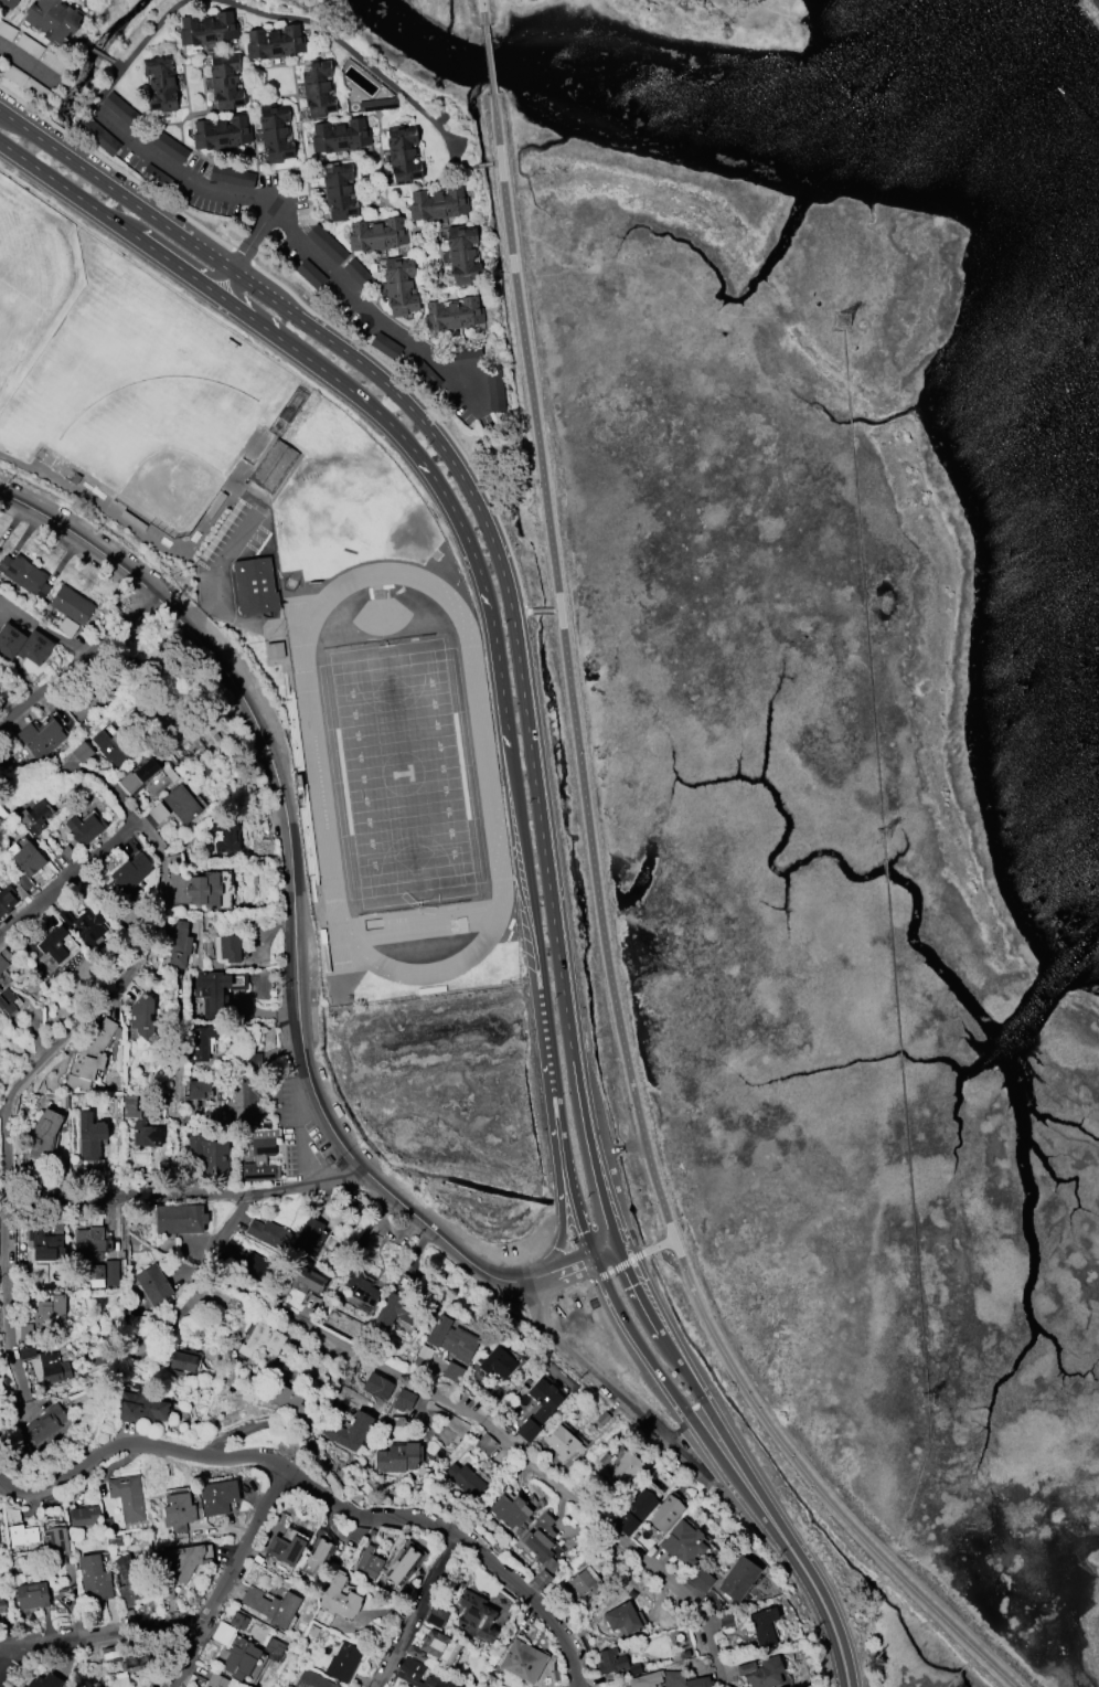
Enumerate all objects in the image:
building: (8, 3)
road: (483, 11)
road: (737, 11)
building: (52, 20)
park: (695, 21)
building: (209, 29)
building: (275, 43)
road: (349, 49)
road: (490, 60)
road: (29, 65)
building: (226, 81)
building: (161, 83)
building: (319, 88)
building: (378, 105)
building: (222, 131)
building: (276, 132)
building: (340, 137)
building: (404, 155)
building: (232, 176)
road: (67, 190)
building: (339, 191)
road: (234, 192)
building: (438, 204)
building: (377, 235)
road: (246, 254)
building: (465, 255)
road: (177, 266)
building: (401, 286)
road: (309, 310)
building: (454, 315)
power tower: (844, 323)
building: (385, 346)
building: (495, 392)
building: (273, 465)
road: (434, 477)
park: (169, 488)
road: (482, 520)
parking lot: (238, 535)
building: (0, 540)
road: (215, 569)
building: (24, 575)
building: (254, 584)
building: (72, 605)
road: (542, 611)
road: (557, 611)
road: (521, 612)
road: (563, 620)
road: (41, 629)
building: (10, 639)
building: (34, 648)
building: (273, 648)
road: (77, 658)
building: (83, 701)
building: (42, 739)
building: (116, 746)
building: (83, 752)
park: (401, 772)
track: (484, 772)
building: (150, 777)
building: (182, 804)
building: (159, 813)
building: (2, 814)
building: (36, 817)
building: (86, 829)
building: (226, 835)
power tower: (885, 838)
building: (68, 852)
building: (28, 858)
road: (70, 880)
building: (129, 881)
building: (211, 890)
building: (12, 895)
road: (292, 925)
building: (86, 926)
building: (179, 944)
building: (55, 945)
building: (227, 948)
building: (4, 959)
building: (0, 976)
road: (157, 977)
building: (0, 988)
building: (0, 989)
building: (220, 989)
road: (107, 999)
building: (7, 1001)
road: (544, 1002)
building: (143, 1016)
building: (201, 1043)
building: (90, 1057)
building: (199, 1089)
road: (183, 1091)
building: (250, 1100)
building: (130, 1107)
road: (298, 1128)
building: (147, 1134)
building: (44, 1135)
road: (551, 1135)
building: (90, 1136)
road: (634, 1145)
road: (604, 1150)
building: (209, 1154)
building: (260, 1156)
road: (657, 1190)
road: (184, 1197)
road: (595, 1200)
building: (179, 1219)
building: (269, 1234)
building: (309, 1235)
building: (92, 1240)
building: (45, 1244)
road: (658, 1246)
building: (250, 1265)
road: (595, 1265)
road: (621, 1266)
building: (103, 1274)
building: (305, 1278)
road: (595, 1278)
building: (152, 1284)
building: (360, 1287)
building: (395, 1311)
building: (49, 1312)
road: (307, 1320)
road: (593, 1320)
road: (610, 1327)
building: (25, 1333)
building: (451, 1339)
building: (262, 1340)
road: (595, 1344)
building: (422, 1356)
building: (182, 1361)
building: (498, 1362)
building: (53, 1369)
building: (454, 1372)
building: (377, 1386)
road: (610, 1387)
building: (404, 1400)
power tower: (930, 1400)
road: (705, 1402)
building: (290, 1404)
building: (141, 1407)
building: (538, 1409)
building: (604, 1419)
building: (45, 1424)
road: (690, 1424)
building: (349, 1431)
building: (564, 1443)
building: (397, 1457)
building: (627, 1471)
building: (465, 1481)
road: (813, 1483)
road: (319, 1496)
building: (127, 1497)
building: (217, 1497)
road: (588, 1509)
building: (510, 1510)
building: (178, 1511)
building: (636, 1513)
building: (665, 1515)
building: (84, 1516)
building: (22, 1535)
building: (55, 1541)
building: (116, 1541)
building: (541, 1542)
building: (684, 1542)
building: (285, 1549)
building: (317, 1558)
building: (183, 1561)
building: (369, 1561)
building: (403, 1566)
road: (228, 1577)
building: (94, 1578)
building: (739, 1579)
building: (541, 1580)
building: (132, 1581)
building: (702, 1581)
building: (586, 1582)
building: (31, 1595)
building: (339, 1596)
building: (2, 1605)
building: (271, 1606)
road: (420, 1611)
building: (436, 1616)
building: (476, 1616)
building: (622, 1619)
road: (831, 1621)
building: (765, 1627)
road: (103, 1636)
road: (709, 1637)
building: (428, 1645)
building: (235, 1646)
building: (274, 1648)
road: (1, 1656)
building: (135, 1661)
building: (522, 1661)
building: (343, 1662)
building: (616, 1663)
building: (410, 1669)
building: (760, 1675)
building: (42, 1680)
building: (216, 1680)
building: (312, 1680)
building: (671, 1680)

